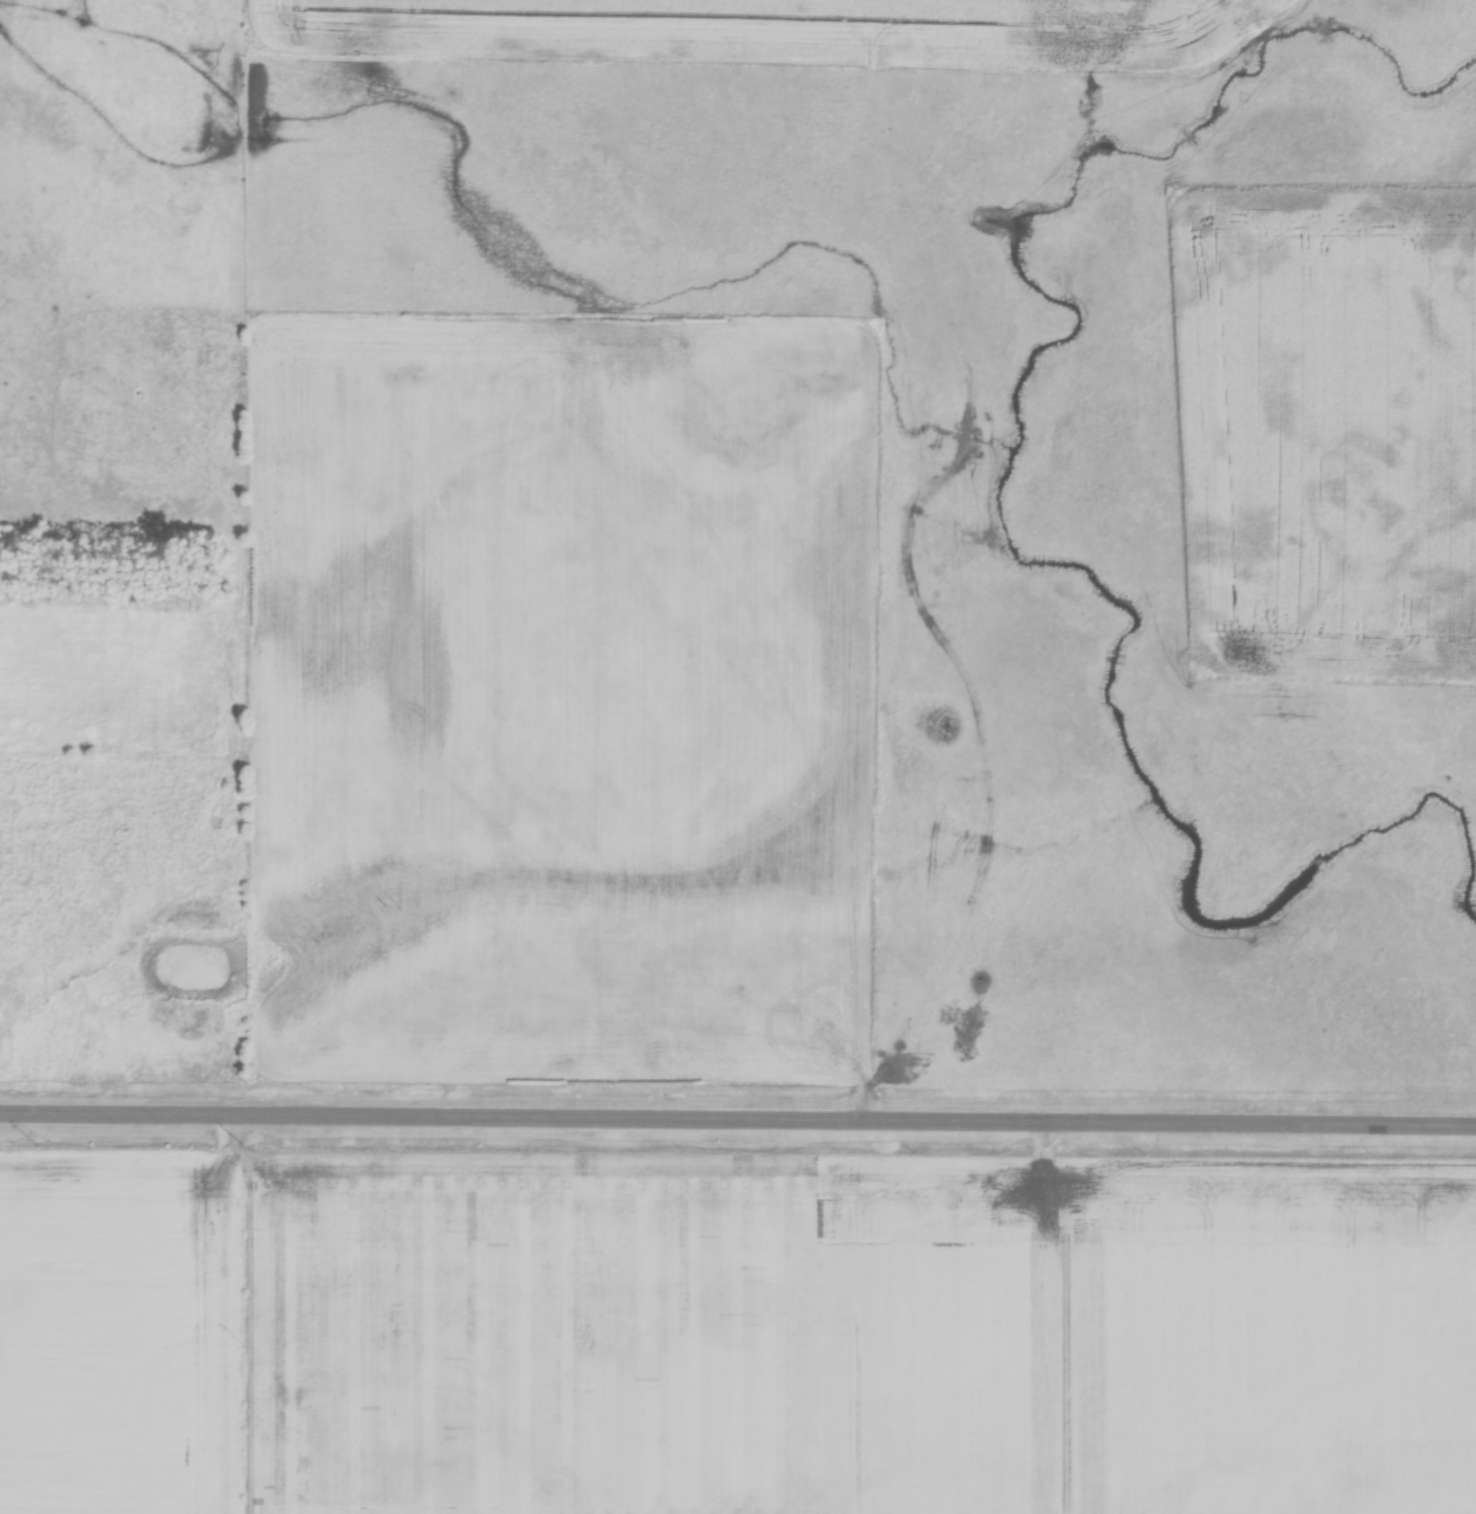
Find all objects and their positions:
road: (737, 1124)

